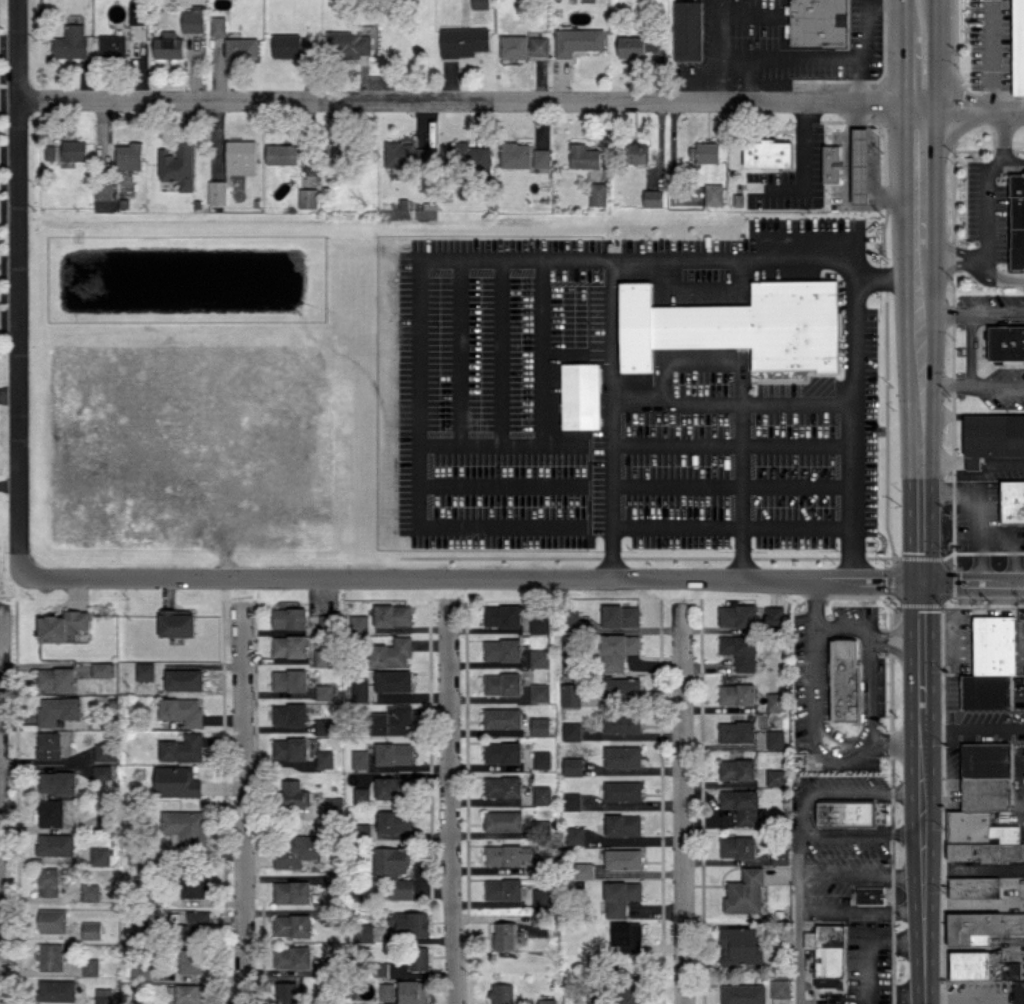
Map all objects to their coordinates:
road: (935, 3)
building: (480, 4)
building: (193, 19)
building: (818, 22)
building: (218, 25)
building: (687, 30)
road: (900, 31)
building: (578, 40)
building: (464, 41)
building: (71, 43)
building: (347, 44)
building: (168, 45)
building: (637, 45)
building: (112, 46)
building: (291, 46)
building: (524, 46)
building: (1018, 47)
building: (241, 48)
road: (987, 52)
road: (933, 54)
road: (824, 57)
road: (854, 79)
road: (908, 81)
road: (469, 100)
road: (970, 102)
building: (74, 150)
building: (49, 152)
building: (636, 152)
building: (705, 152)
building: (282, 154)
building: (424, 154)
building: (515, 154)
building: (769, 154)
building: (129, 156)
building: (464, 156)
building: (584, 156)
building: (241, 157)
building: (541, 157)
road: (1012, 159)
building: (831, 162)
road: (917, 163)
building: (177, 165)
road: (802, 165)
building: (859, 165)
road: (984, 180)
building: (104, 190)
building: (217, 192)
building: (598, 193)
building: (713, 194)
building: (308, 197)
building: (652, 197)
road: (21, 206)
building: (1017, 220)
road: (918, 237)
road: (965, 256)
road: (457, 265)
road: (918, 268)
road: (990, 277)
road: (918, 301)
road: (971, 312)
building: (737, 325)
building: (1005, 342)
road: (918, 347)
road: (971, 382)
building: (580, 395)
road: (610, 398)
road: (732, 402)
road: (919, 410)
building: (994, 435)
road: (940, 461)
road: (969, 461)
road: (1000, 461)
building: (972, 463)
road: (20, 494)
building: (1012, 502)
road: (919, 511)
road: (851, 526)
road: (610, 554)
road: (739, 556)
road: (851, 559)
road: (471, 577)
traffic signals: (920, 584)
road: (972, 584)
building: (774, 614)
building: (393, 615)
building: (621, 615)
building: (738, 615)
building: (503, 616)
building: (289, 618)
building: (574, 618)
building: (539, 623)
building: (359, 624)
building: (63, 626)
road: (845, 626)
road: (897, 627)
building: (289, 646)
building: (502, 649)
building: (617, 650)
road: (920, 650)
building: (740, 651)
road: (896, 651)
building: (391, 652)
building: (323, 657)
building: (539, 658)
building: (991, 663)
building: (103, 669)
building: (145, 670)
building: (56, 678)
building: (183, 679)
building: (289, 680)
building: (393, 680)
building: (845, 681)
building: (502, 684)
road: (866, 685)
building: (622, 687)
building: (360, 689)
building: (324, 691)
building: (540, 692)
building: (570, 694)
building: (737, 694)
building: (775, 702)
building: (58, 709)
building: (182, 710)
building: (290, 714)
building: (502, 718)
building: (392, 720)
road: (810, 721)
building: (622, 723)
building: (540, 725)
building: (324, 726)
building: (572, 728)
road: (921, 729)
building: (737, 731)
building: (776, 739)
building: (49, 745)
building: (183, 748)
building: (290, 748)
building: (106, 751)
building: (502, 752)
building: (393, 753)
building: (623, 756)
building: (324, 758)
building: (360, 759)
building: (573, 768)
building: (737, 769)
building: (102, 772)
building: (775, 776)
building: (57, 782)
building: (177, 782)
building: (503, 786)
building: (391, 788)
building: (623, 790)
building: (294, 793)
building: (361, 794)
building: (542, 794)
building: (571, 801)
road: (243, 802)
road: (449, 802)
road: (682, 803)
building: (741, 804)
building: (334, 805)
building: (984, 807)
road: (0, 810)
road: (803, 810)
building: (846, 812)
building: (51, 813)
building: (503, 820)
building: (394, 821)
building: (623, 824)
building: (185, 827)
building: (363, 829)
building: (574, 835)
building: (56, 844)
building: (737, 846)
building: (296, 850)
building: (503, 854)
building: (100, 856)
building: (779, 857)
building: (623, 859)
building: (393, 870)
building: (583, 870)
road: (860, 872)
road: (921, 872)
building: (49, 882)
building: (193, 887)
building: (974, 887)
building: (504, 889)
building: (90, 892)
building: (292, 892)
building: (745, 892)
building: (871, 895)
building: (620, 897)
building: (538, 918)
building: (53, 920)
building: (198, 921)
building: (411, 922)
building: (293, 925)
building: (972, 925)
building: (92, 930)
building: (364, 932)
building: (627, 935)
road: (798, 937)
building: (741, 946)
building: (828, 953)
building: (51, 956)
building: (292, 957)
building: (418, 958)
building: (190, 961)
building: (90, 966)
building: (141, 972)
building: (780, 988)
building: (57, 990)
building: (386, 991)
building: (287, 992)
building: (414, 992)
building: (1019, 992)
building: (502, 993)
building: (190, 994)
building: (743, 994)
building: (104, 995)
building: (630, 995)
building: (547, 1001)

